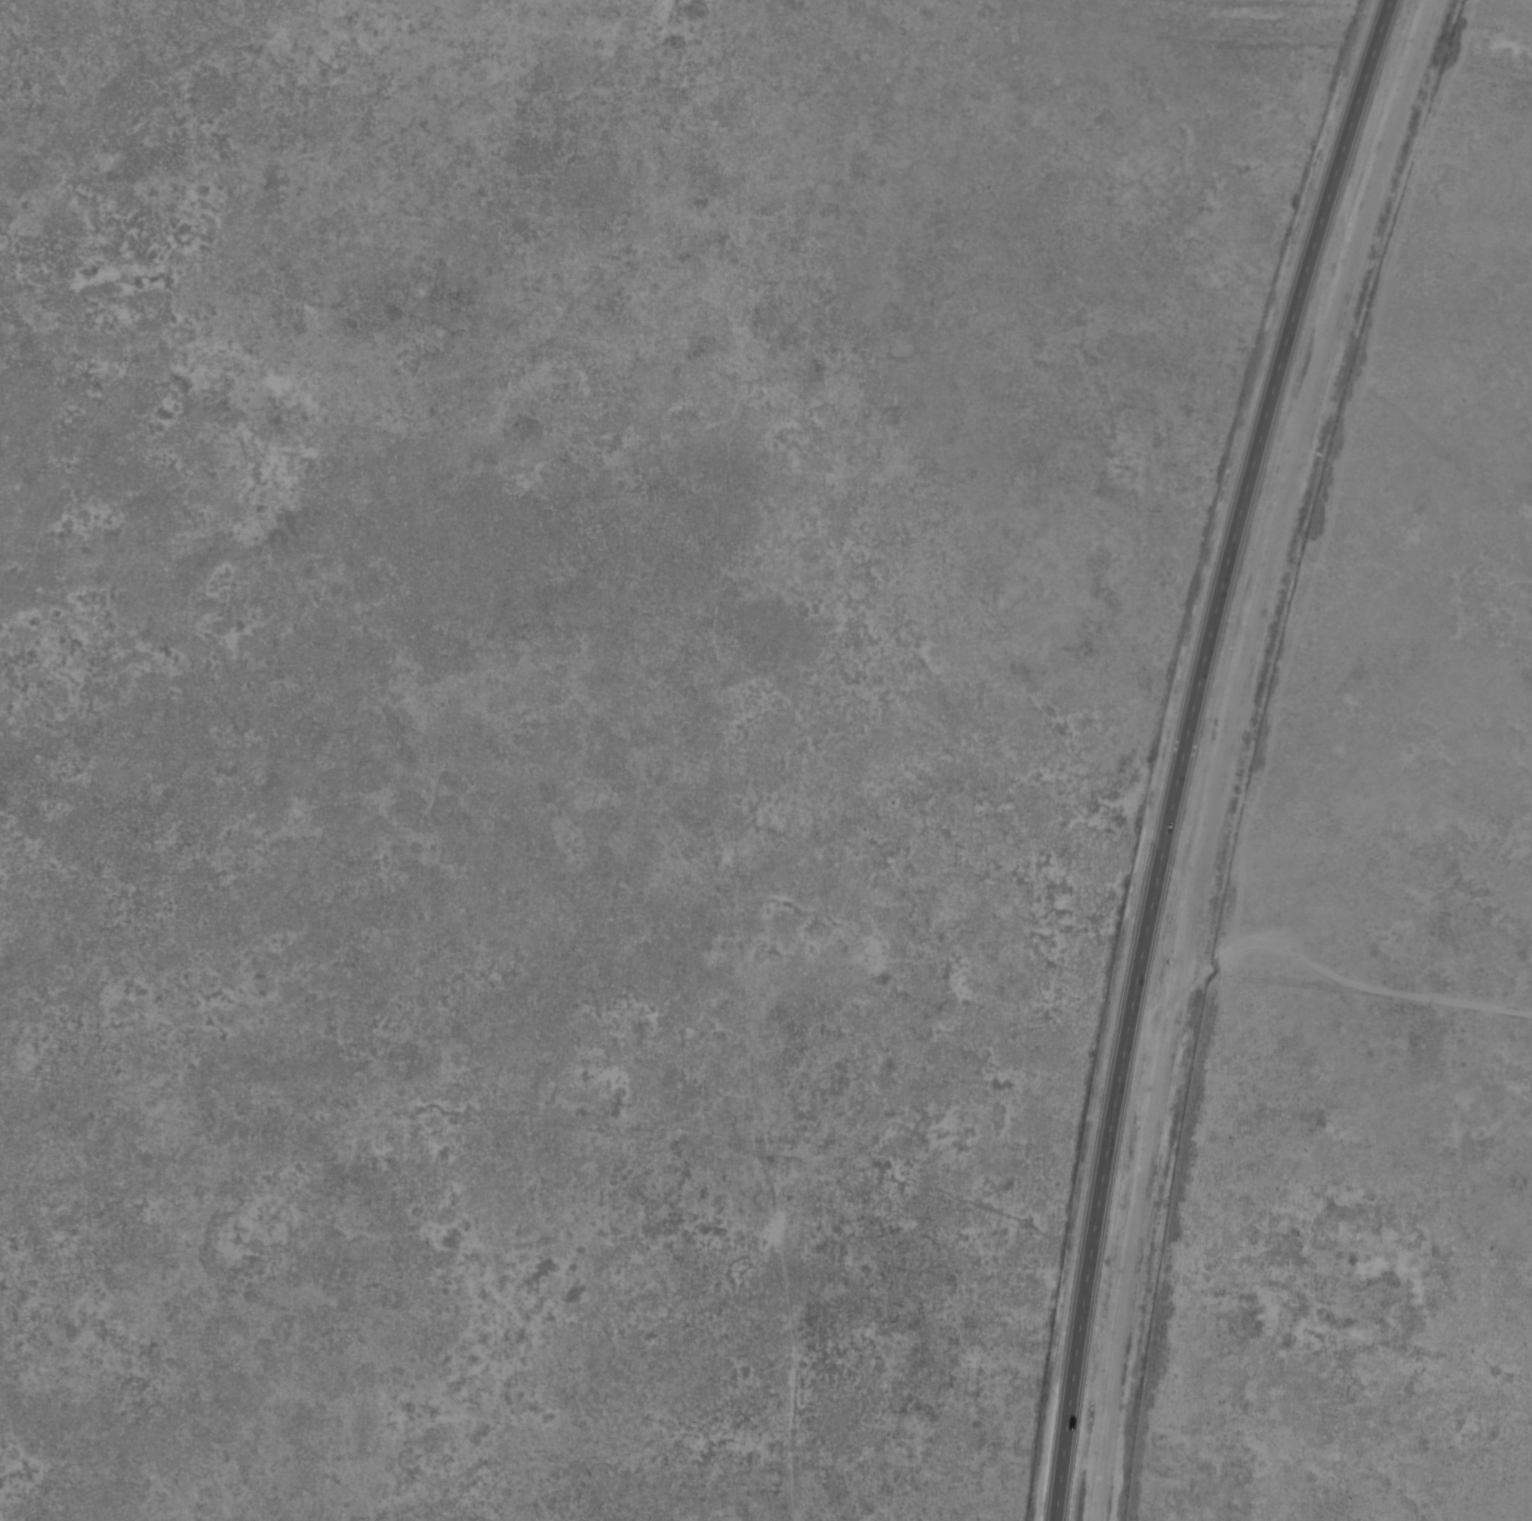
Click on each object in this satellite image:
road: (1171, 751)
road: (1314, 959)

